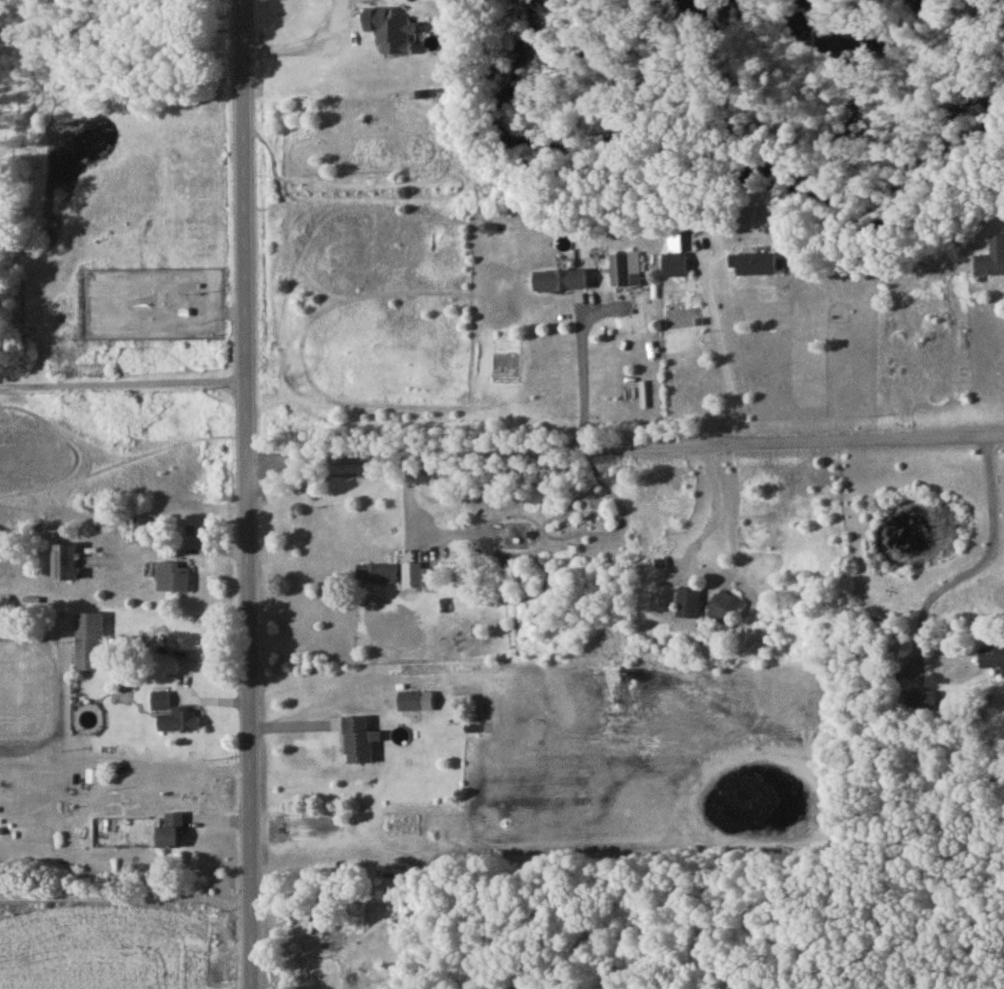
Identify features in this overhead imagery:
road: (237, 23)
road: (296, 38)
building: (992, 262)
building: (675, 268)
building: (757, 268)
building: (621, 273)
building: (560, 284)
road: (723, 358)
road: (583, 373)
road: (124, 386)
road: (627, 450)
road: (717, 514)
road: (251, 517)
building: (141, 531)
road: (973, 558)
building: (64, 566)
building: (412, 576)
building: (377, 577)
building: (174, 580)
building: (689, 607)
building: (723, 611)
building: (88, 645)
building: (991, 660)
road: (184, 677)
building: (160, 705)
building: (410, 705)
building: (180, 724)
building: (359, 744)
building: (7, 802)
building: (170, 833)
road: (127, 897)
building: (317, 969)

